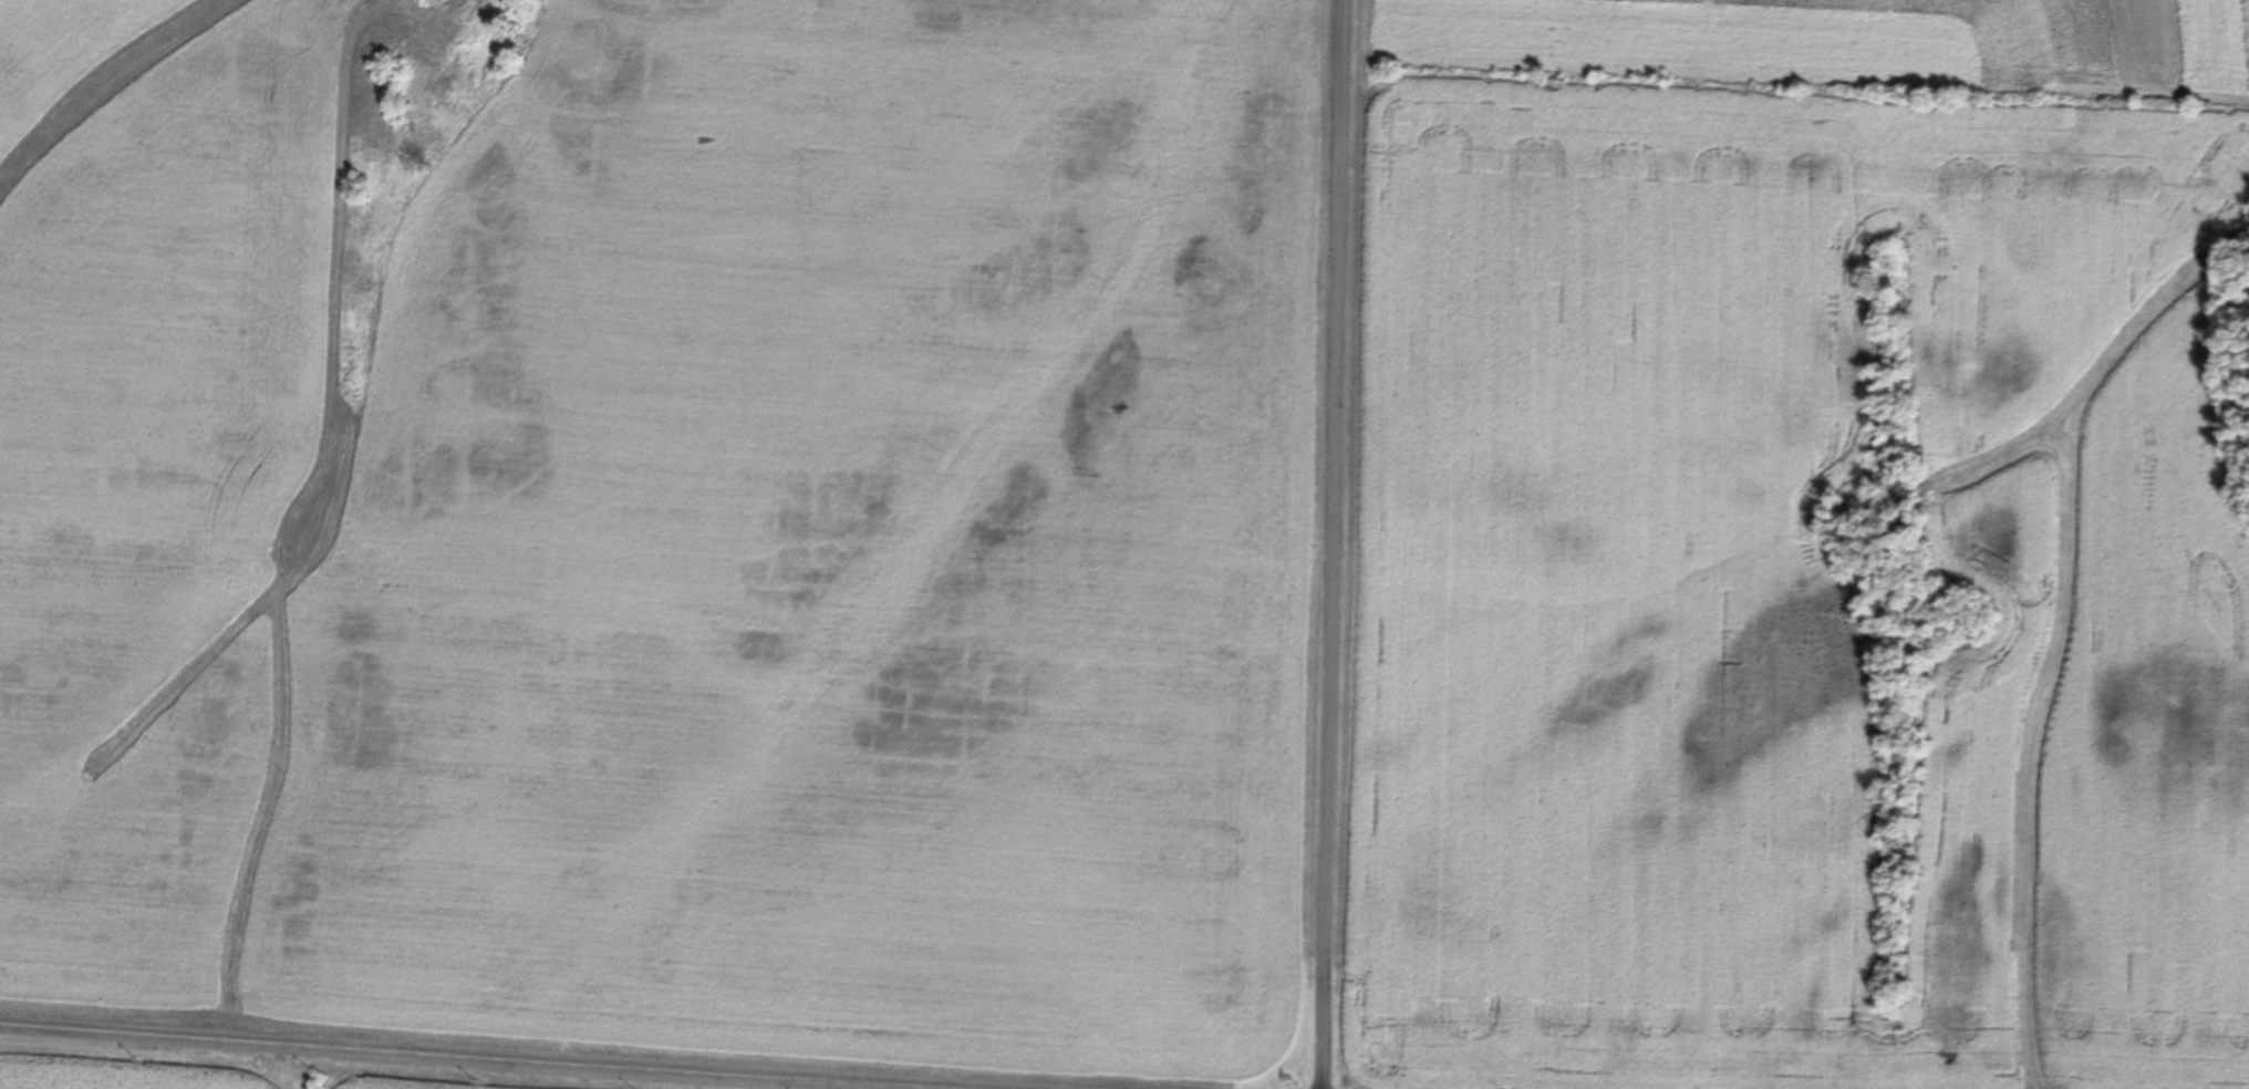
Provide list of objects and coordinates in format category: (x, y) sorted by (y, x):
road: (1335, 544)
road: (455, 1058)

